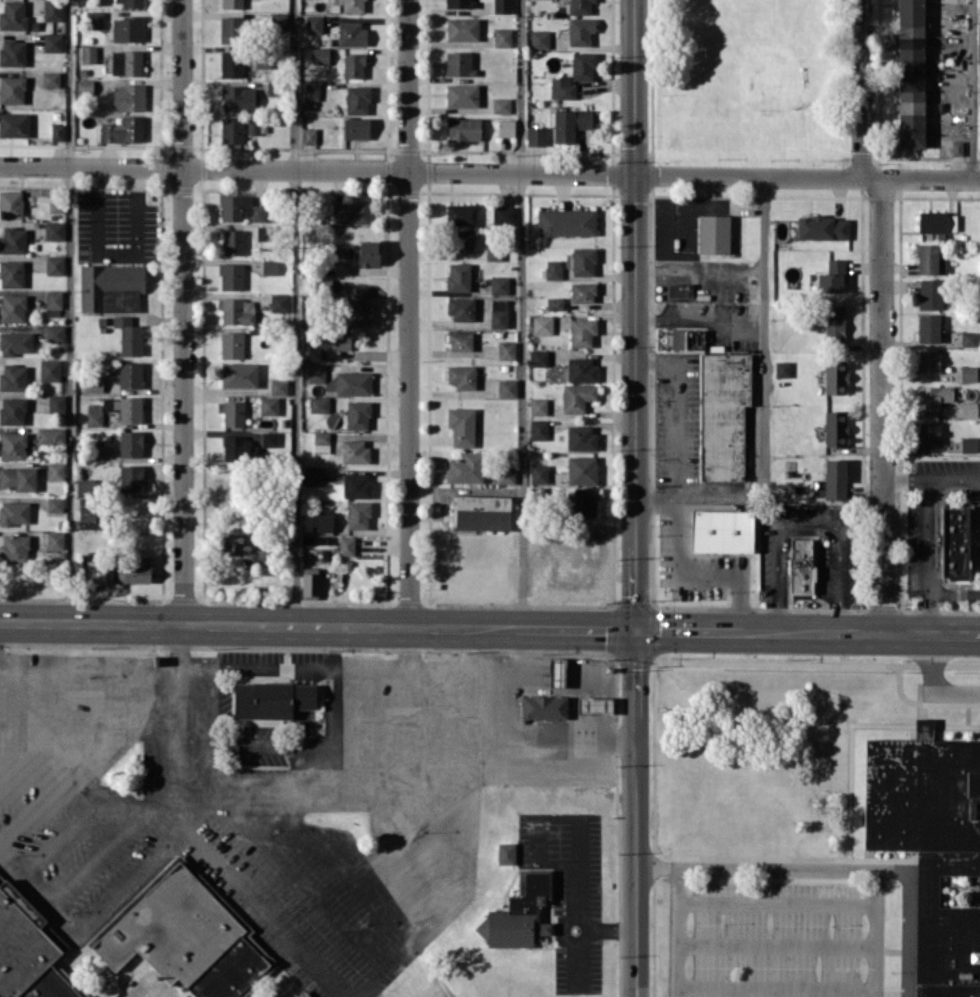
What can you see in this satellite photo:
building: (131, 3)
building: (458, 3)
building: (232, 4)
building: (979, 4)
building: (353, 5)
building: (502, 6)
building: (579, 6)
building: (52, 10)
building: (13, 15)
building: (94, 19)
building: (278, 21)
building: (313, 24)
building: (128, 29)
building: (230, 29)
building: (462, 29)
building: (580, 30)
building: (351, 34)
building: (502, 37)
building: (539, 39)
building: (52, 42)
building: (12, 52)
building: (88, 54)
building: (320, 55)
building: (229, 60)
building: (126, 62)
building: (458, 63)
building: (353, 65)
building: (582, 66)
building: (910, 73)
building: (50, 79)
park: (749, 82)
building: (84, 86)
building: (561, 87)
road: (973, 89)
building: (12, 90)
road: (861, 90)
building: (311, 91)
building: (461, 95)
building: (128, 97)
building: (238, 98)
building: (357, 100)
building: (501, 105)
building: (14, 124)
building: (569, 124)
building: (253, 125)
building: (356, 128)
building: (505, 128)
building: (463, 129)
building: (123, 130)
building: (231, 130)
building: (57, 132)
building: (308, 135)
building: (536, 135)
road: (489, 172)
building: (10, 204)
building: (55, 206)
building: (231, 207)
building: (351, 212)
building: (257, 213)
building: (461, 213)
building: (503, 214)
building: (937, 221)
building: (566, 222)
building: (822, 227)
building: (54, 230)
building: (713, 234)
building: (13, 240)
building: (462, 240)
building: (233, 242)
building: (493, 252)
building: (368, 253)
building: (927, 258)
building: (583, 261)
building: (54, 265)
building: (269, 267)
building: (553, 269)
building: (11, 273)
building: (231, 276)
building: (458, 276)
road: (700, 276)
building: (831, 276)
building: (499, 285)
building: (110, 287)
building: (582, 292)
building: (680, 292)
building: (929, 293)
building: (53, 303)
building: (279, 303)
building: (555, 303)
building: (356, 306)
building: (12, 308)
building: (460, 308)
building: (236, 310)
road: (70, 311)
road: (183, 312)
road: (295, 313)
road: (409, 313)
building: (498, 313)
road: (522, 313)
road: (699, 322)
building: (834, 323)
building: (542, 324)
building: (928, 328)
building: (582, 332)
building: (54, 333)
building: (128, 335)
building: (968, 338)
building: (687, 339)
building: (336, 341)
building: (459, 341)
building: (15, 343)
building: (231, 345)
building: (506, 350)
building: (312, 353)
building: (537, 358)
building: (928, 361)
building: (581, 369)
building: (781, 369)
building: (49, 370)
building: (316, 372)
building: (968, 373)
building: (129, 375)
building: (239, 375)
building: (461, 376)
building: (835, 376)
building: (13, 378)
building: (353, 383)
building: (93, 384)
building: (278, 386)
building: (506, 388)
building: (933, 395)
building: (577, 397)
road: (764, 398)
building: (55, 403)
road: (881, 403)
building: (318, 404)
building: (268, 405)
building: (538, 406)
building: (125, 408)
building: (968, 409)
building: (12, 411)
road: (678, 411)
building: (231, 412)
building: (722, 414)
building: (94, 415)
building: (357, 415)
building: (461, 426)
building: (835, 428)
building: (538, 429)
building: (928, 432)
building: (50, 435)
building: (581, 437)
building: (321, 442)
building: (130, 443)
building: (968, 444)
building: (12, 445)
building: (236, 447)
building: (93, 449)
building: (354, 451)
building: (465, 468)
building: (582, 469)
building: (55, 470)
building: (505, 475)
building: (538, 475)
building: (311, 476)
building: (17, 478)
building: (130, 478)
building: (834, 478)
road: (906, 478)
road: (955, 479)
building: (356, 485)
building: (85, 487)
road: (635, 498)
building: (584, 501)
building: (54, 504)
building: (86, 504)
building: (14, 512)
building: (481, 512)
building: (358, 514)
road: (806, 520)
building: (88, 521)
building: (322, 521)
building: (721, 530)
building: (55, 540)
building: (954, 542)
building: (233, 543)
building: (346, 545)
building: (14, 548)
road: (929, 555)
building: (263, 557)
building: (800, 566)
road: (680, 572)
building: (104, 573)
building: (134, 573)
building: (310, 582)
road: (954, 594)
road: (489, 628)
traffic signals: (636, 629)
road: (277, 667)
building: (557, 672)
road: (930, 686)
road: (488, 687)
road: (7, 689)
road: (91, 699)
building: (271, 699)
building: (594, 704)
building: (543, 706)
building: (923, 724)
road: (462, 746)
road: (34, 747)
road: (98, 784)
road: (334, 785)
road: (201, 845)
building: (932, 849)
road: (28, 868)
road: (299, 868)
road: (834, 868)
road: (576, 901)
road: (58, 913)
building: (518, 914)
road: (606, 928)
road: (672, 931)
road: (874, 933)
building: (185, 936)
building: (27, 951)
building: (302, 994)

